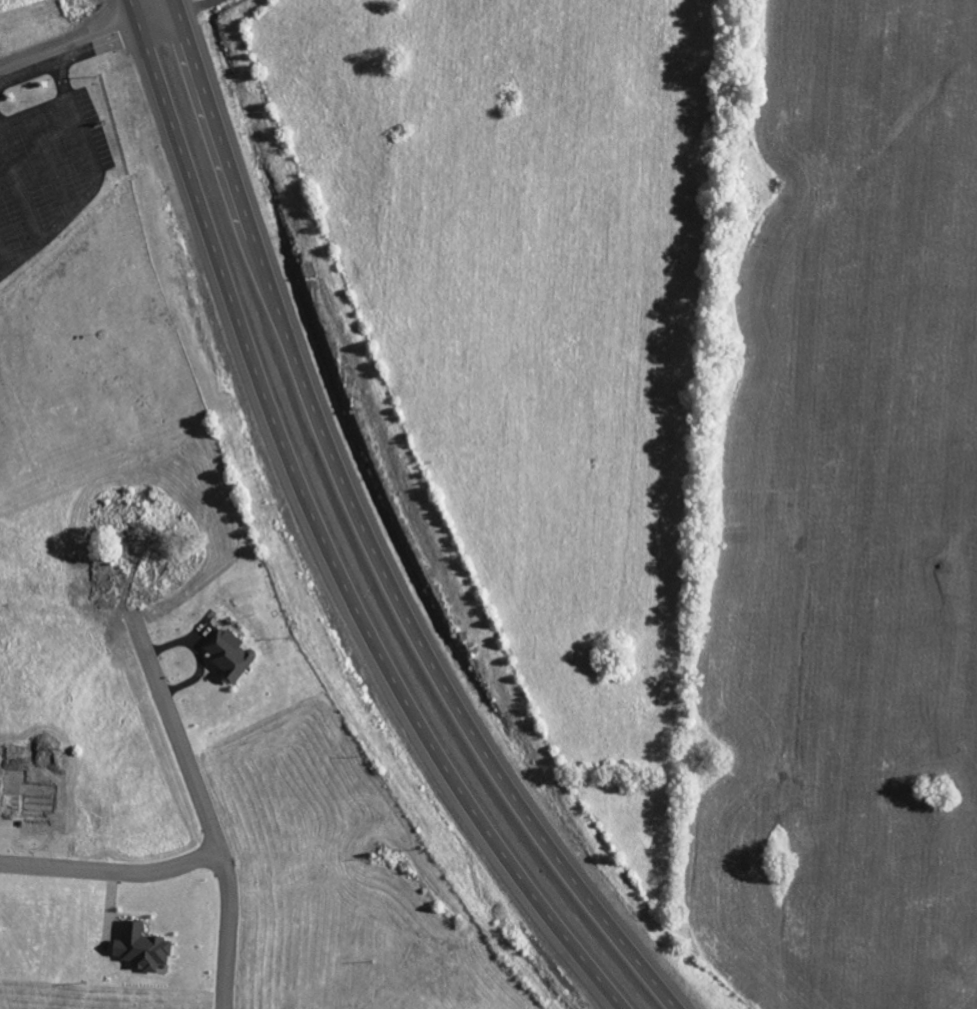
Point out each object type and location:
road: (115, 25)
road: (29, 72)
road: (35, 109)
road: (3, 123)
road: (50, 162)
road: (21, 183)
road: (94, 190)
road: (5, 267)
road: (322, 533)
road: (371, 534)
building: (227, 654)
road: (202, 809)
road: (110, 870)
building: (139, 947)

